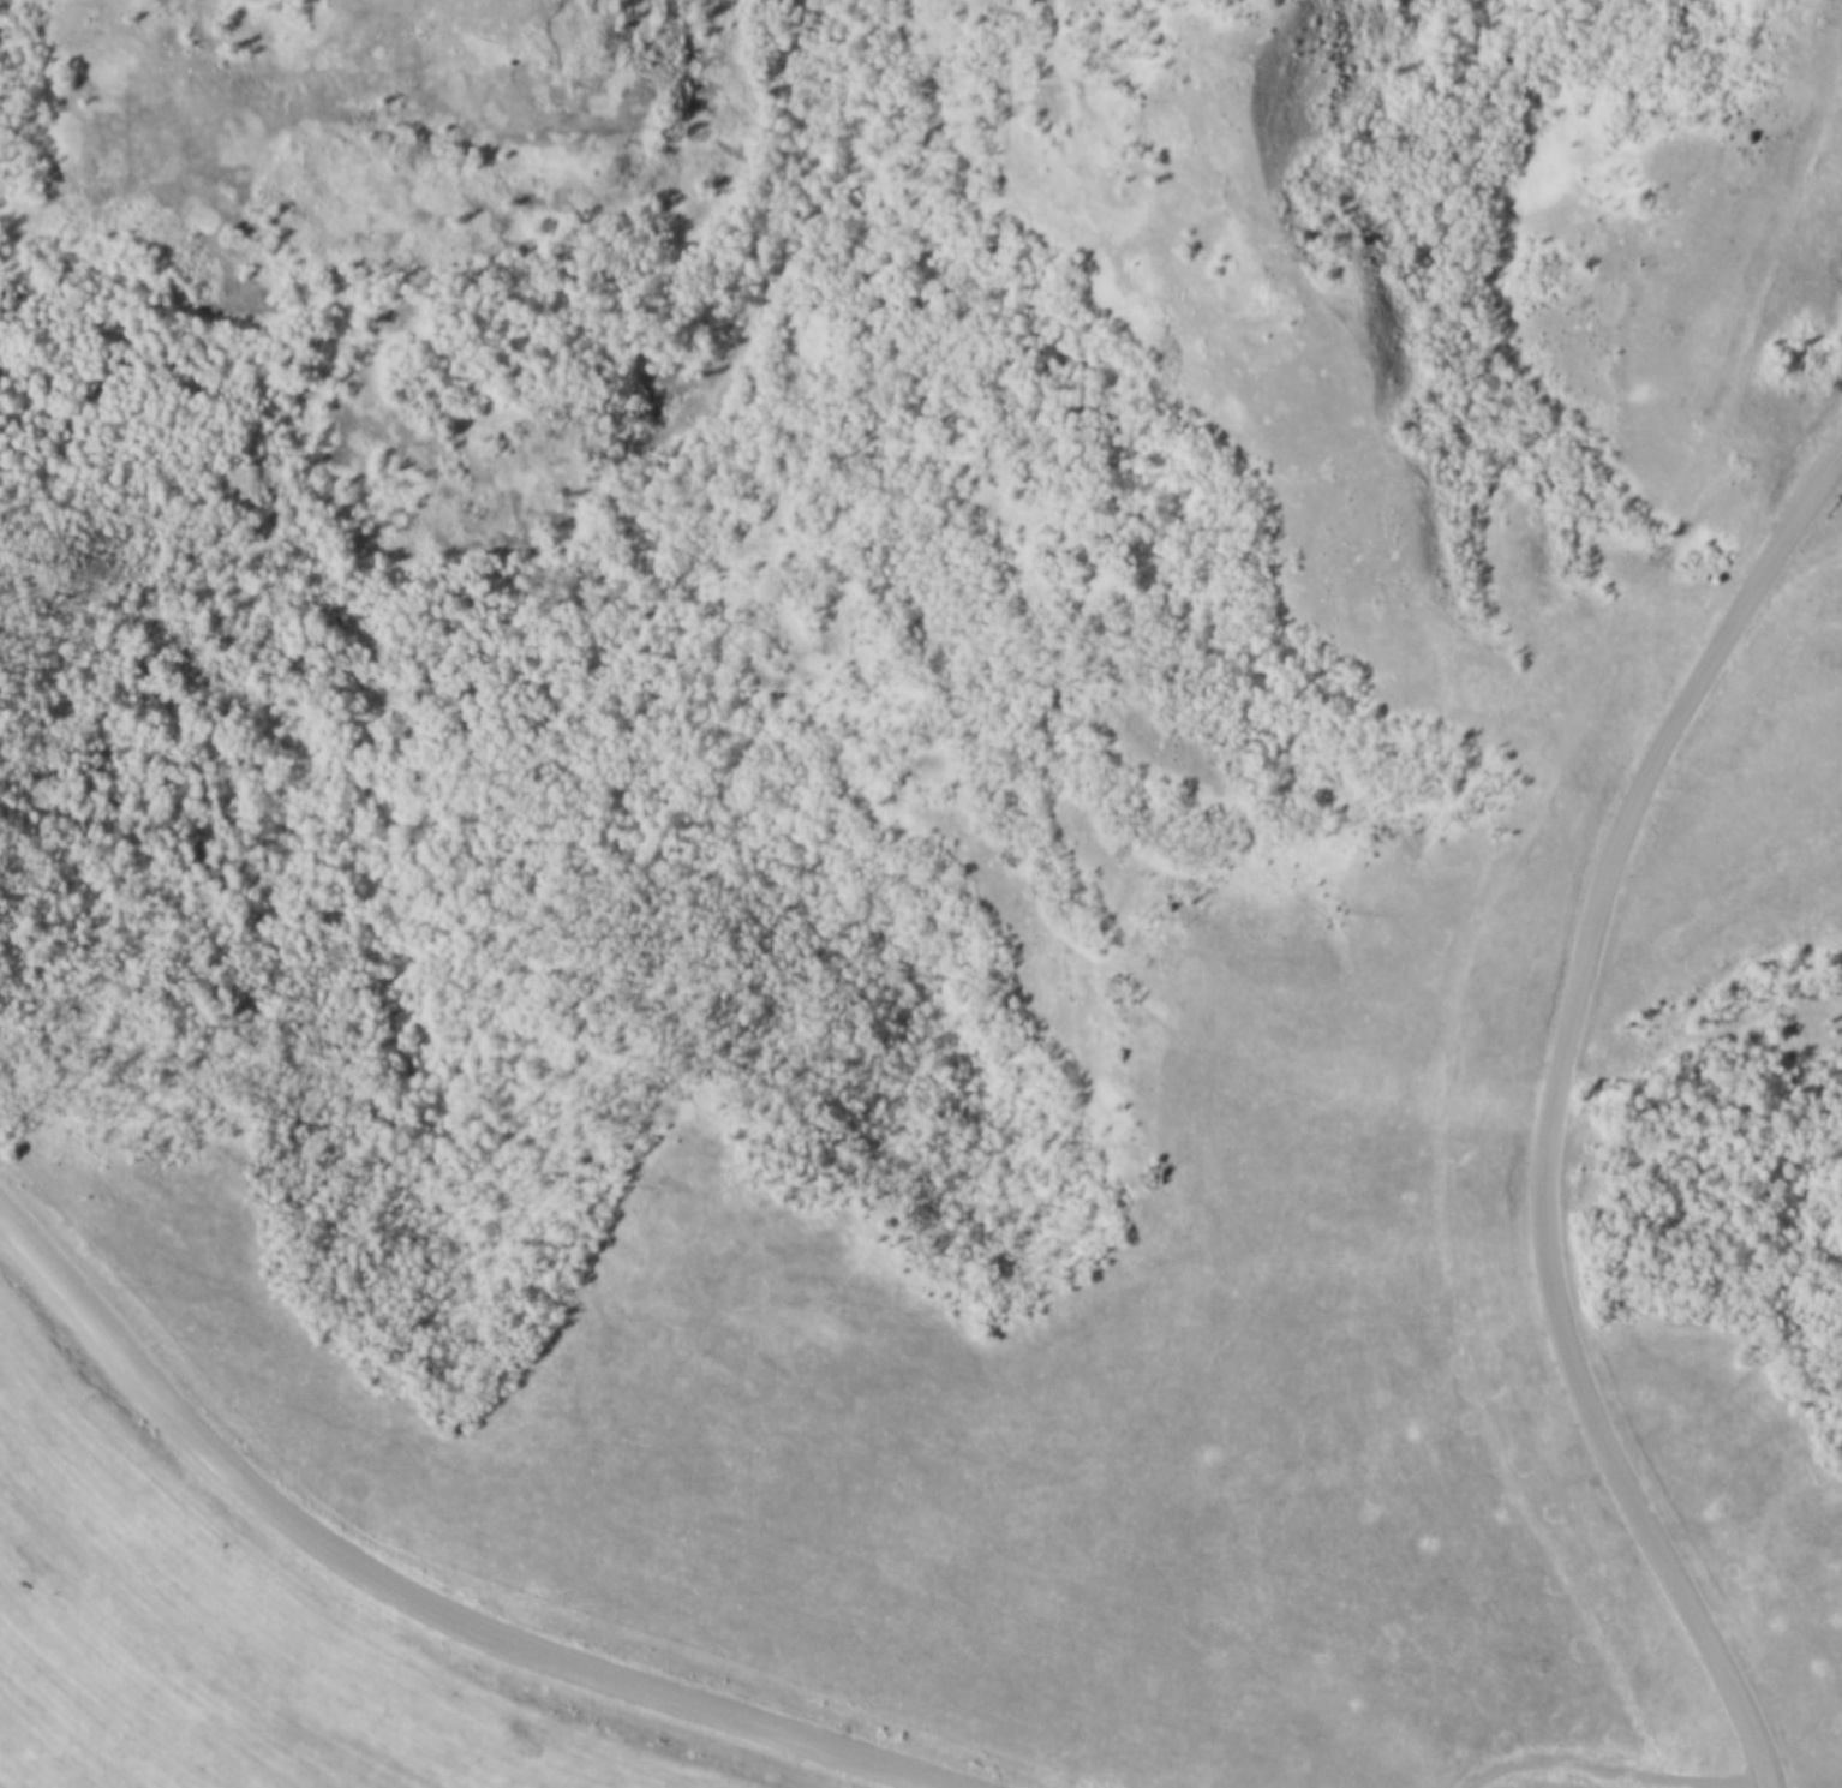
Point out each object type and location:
road: (1550, 1113)
road: (403, 1599)

